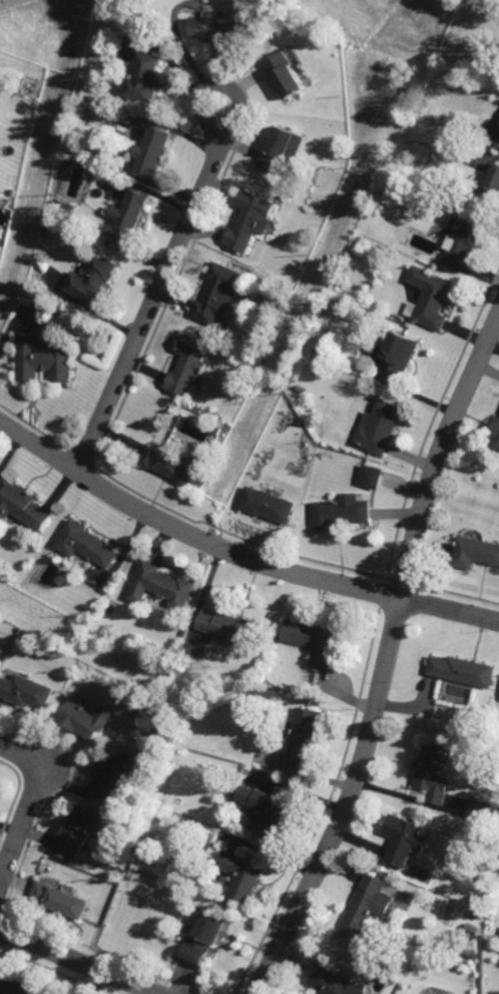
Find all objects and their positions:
building: (216, 25)
building: (284, 72)
building: (142, 76)
building: (498, 145)
building: (282, 149)
building: (152, 151)
building: (491, 187)
building: (14, 190)
building: (66, 206)
building: (128, 216)
building: (250, 220)
building: (1, 230)
building: (465, 242)
building: (93, 279)
road: (156, 287)
building: (218, 291)
building: (431, 296)
building: (396, 352)
building: (44, 357)
building: (188, 366)
building: (300, 389)
building: (378, 426)
building: (494, 435)
building: (171, 465)
building: (370, 476)
building: (267, 505)
building: (24, 507)
building: (341, 512)
building: (83, 543)
building: (475, 552)
road: (236, 553)
building: (160, 587)
building: (228, 628)
building: (314, 639)
road: (386, 656)
building: (461, 670)
building: (172, 675)
building: (25, 690)
building: (84, 716)
building: (174, 724)
building: (461, 728)
building: (303, 733)
building: (432, 772)
building: (115, 776)
road: (30, 803)
building: (479, 808)
building: (271, 813)
building: (74, 831)
building: (400, 838)
building: (150, 856)
building: (240, 873)
building: (126, 875)
building: (476, 897)
building: (58, 898)
building: (365, 905)
building: (474, 911)
building: (202, 935)
road: (81, 960)
building: (335, 982)
building: (16, 986)

